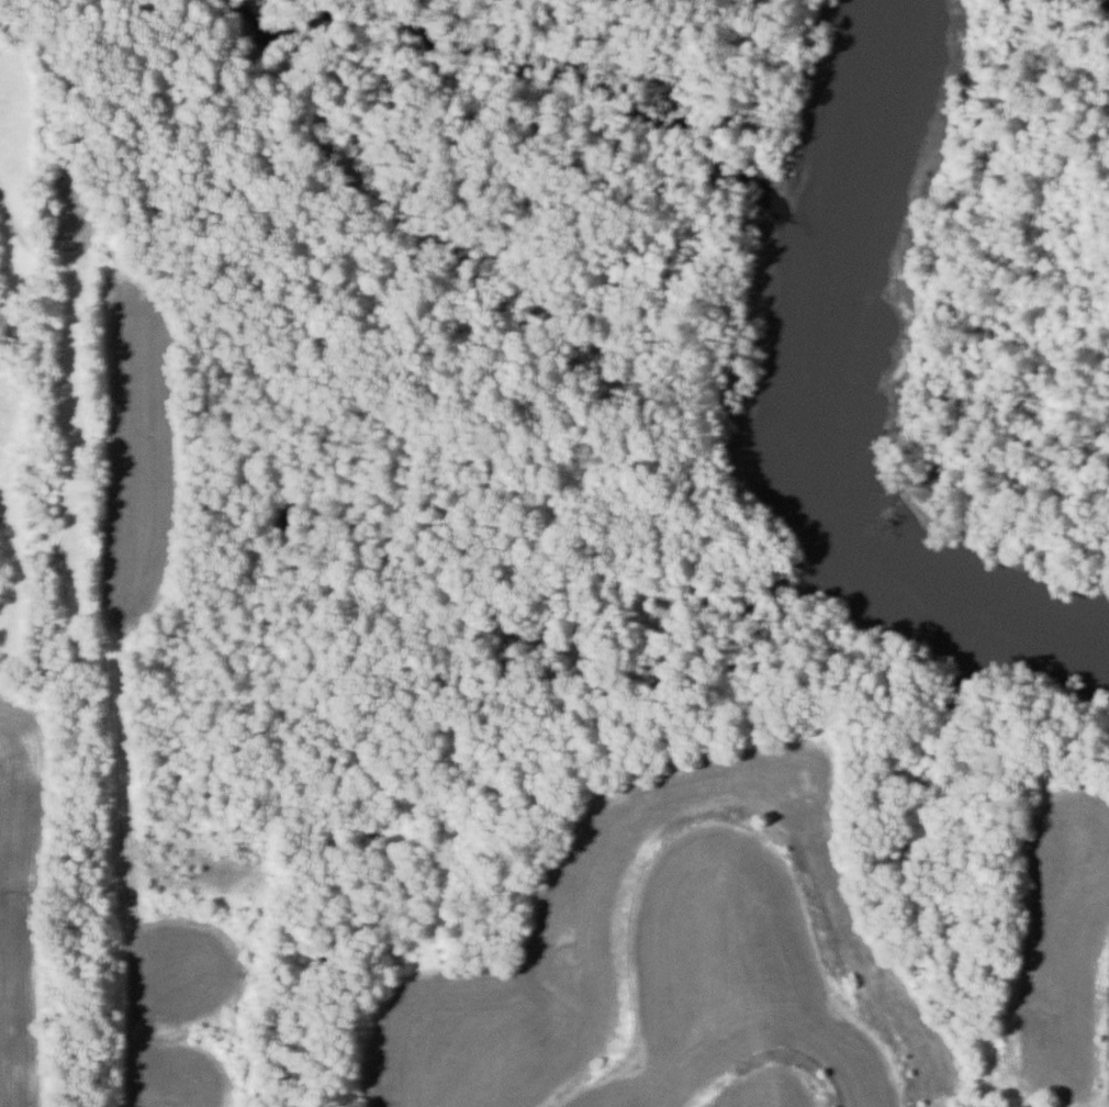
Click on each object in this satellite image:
river: (773, 420)

